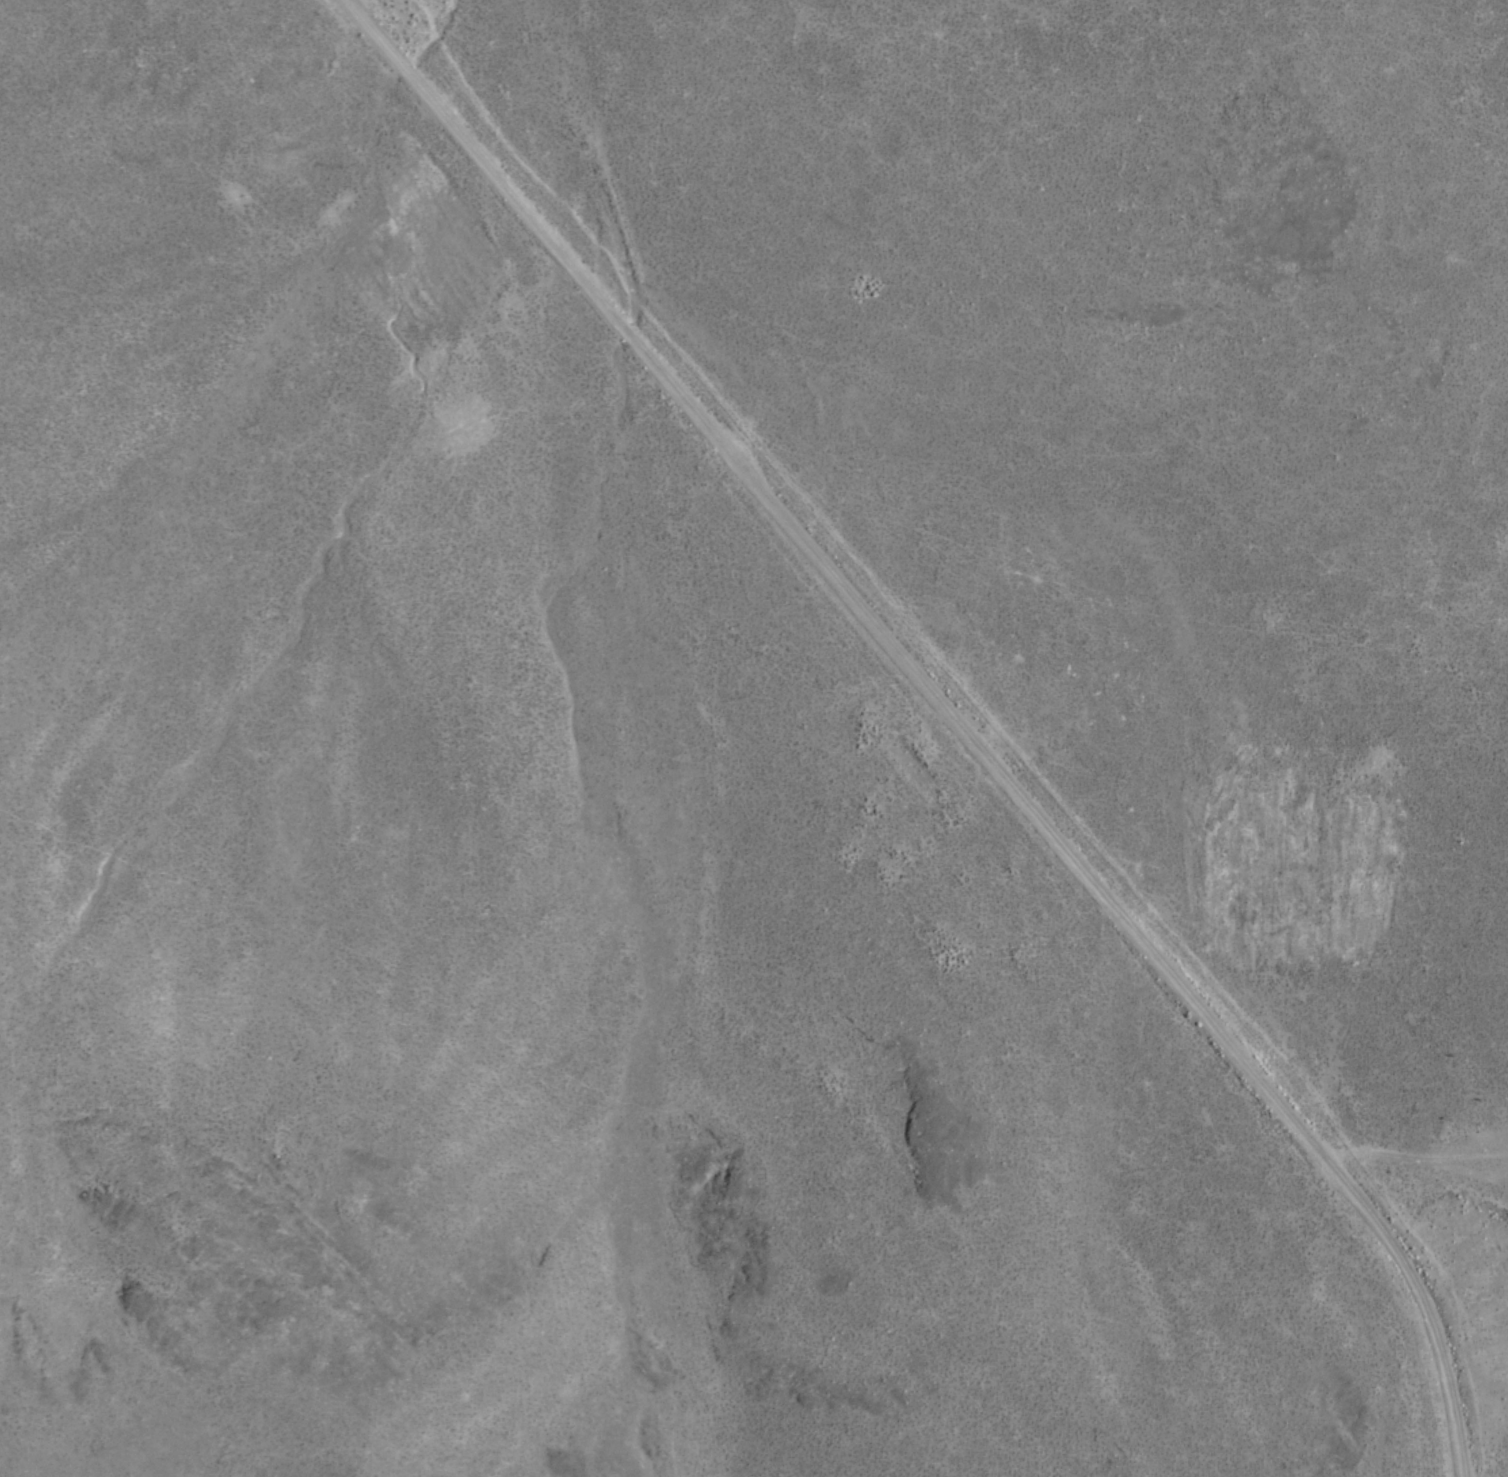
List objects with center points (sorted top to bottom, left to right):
road: (950, 714)
road: (1414, 1156)

